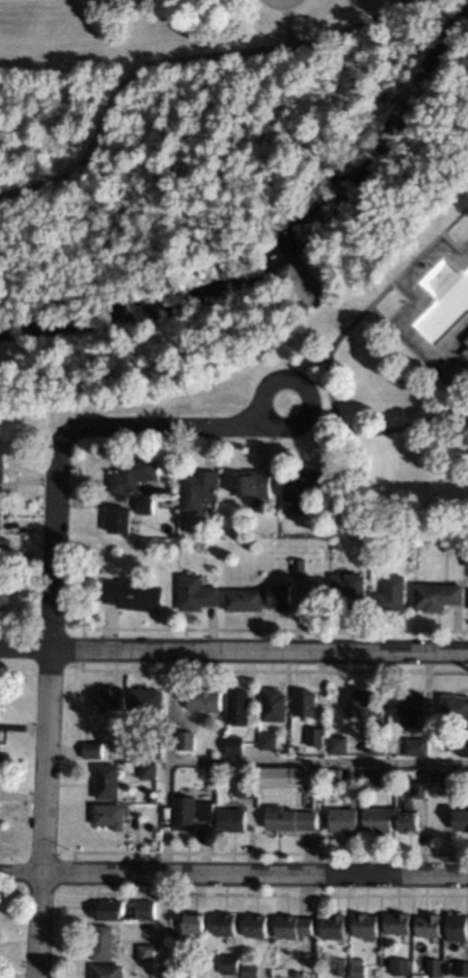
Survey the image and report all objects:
road: (286, 22)
road: (171, 58)
building: (425, 69)
park: (246, 226)
river: (293, 251)
road: (382, 294)
building: (466, 340)
road: (262, 409)
road: (160, 426)
road: (374, 433)
building: (3, 465)
building: (135, 473)
building: (255, 482)
building: (335, 484)
building: (201, 488)
building: (301, 489)
building: (176, 500)
building: (147, 505)
building: (1, 513)
building: (121, 518)
building: (0, 531)
building: (448, 546)
building: (5, 547)
building: (467, 563)
building: (301, 567)
building: (5, 585)
building: (353, 588)
building: (198, 592)
building: (134, 594)
building: (392, 594)
building: (282, 595)
building: (438, 595)
building: (246, 599)
road: (233, 655)
building: (112, 697)
building: (206, 698)
building: (146, 701)
building: (307, 702)
building: (365, 703)
building: (275, 704)
building: (409, 704)
building: (240, 706)
building: (456, 706)
building: (1, 707)
road: (45, 707)
building: (0, 735)
building: (316, 735)
building: (188, 739)
building: (270, 740)
building: (390, 743)
building: (236, 744)
building: (339, 744)
building: (379, 745)
building: (422, 746)
building: (155, 748)
building: (94, 749)
road: (317, 761)
building: (150, 769)
building: (334, 773)
building: (281, 776)
building: (373, 776)
building: (451, 778)
building: (109, 780)
building: (249, 784)
building: (421, 788)
building: (207, 810)
building: (187, 812)
building: (112, 814)
road: (164, 816)
building: (292, 818)
building: (233, 819)
building: (344, 819)
building: (379, 819)
building: (462, 819)
building: (410, 820)
road: (233, 875)
building: (112, 909)
building: (152, 910)
building: (195, 922)
building: (398, 922)
building: (226, 923)
building: (430, 924)
building: (258, 925)
building: (294, 925)
building: (335, 925)
building: (366, 925)
building: (458, 926)
building: (105, 942)
building: (148, 952)
building: (203, 953)
building: (213, 963)
building: (230, 963)
building: (340, 965)
building: (401, 966)
building: (435, 966)
building: (462, 967)
building: (358, 968)
building: (108, 970)
building: (251, 970)
building: (296, 973)

